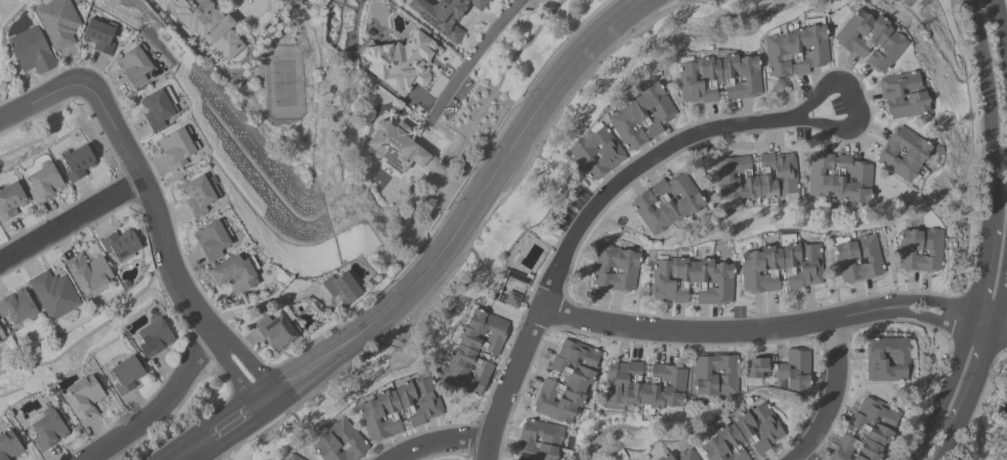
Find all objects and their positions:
road: (243, 2)
building: (444, 15)
building: (59, 23)
building: (211, 26)
road: (1000, 28)
building: (99, 36)
building: (870, 40)
building: (797, 50)
building: (31, 51)
road: (471, 58)
building: (402, 63)
building: (136, 67)
building: (719, 77)
building: (904, 95)
road: (37, 101)
road: (856, 102)
building: (158, 110)
road: (991, 110)
building: (641, 117)
building: (178, 147)
building: (396, 147)
building: (597, 153)
building: (904, 154)
building: (78, 163)
building: (757, 178)
building: (840, 179)
building: (43, 182)
building: (201, 195)
building: (11, 201)
building: (668, 203)
road: (475, 216)
road: (71, 223)
road: (577, 227)
building: (214, 239)
road: (164, 244)
building: (920, 250)
building: (858, 258)
building: (782, 266)
building: (615, 268)
road: (986, 272)
building: (89, 273)
building: (236, 275)
building: (692, 281)
building: (343, 288)
building: (55, 294)
road: (1000, 302)
road: (261, 304)
building: (18, 308)
road: (776, 327)
building: (278, 331)
building: (2, 337)
building: (153, 338)
building: (473, 353)
building: (888, 359)
building: (781, 370)
building: (127, 374)
building: (716, 376)
road: (976, 379)
building: (568, 382)
building: (646, 387)
road: (948, 392)
road: (833, 396)
building: (84, 399)
road: (159, 407)
building: (399, 409)
road: (233, 424)
building: (48, 429)
building: (868, 430)
building: (744, 436)
road: (441, 441)
building: (540, 441)
building: (339, 442)
road: (947, 445)
building: (10, 447)
road: (187, 454)
road: (200, 454)
building: (678, 455)
building: (292, 457)

